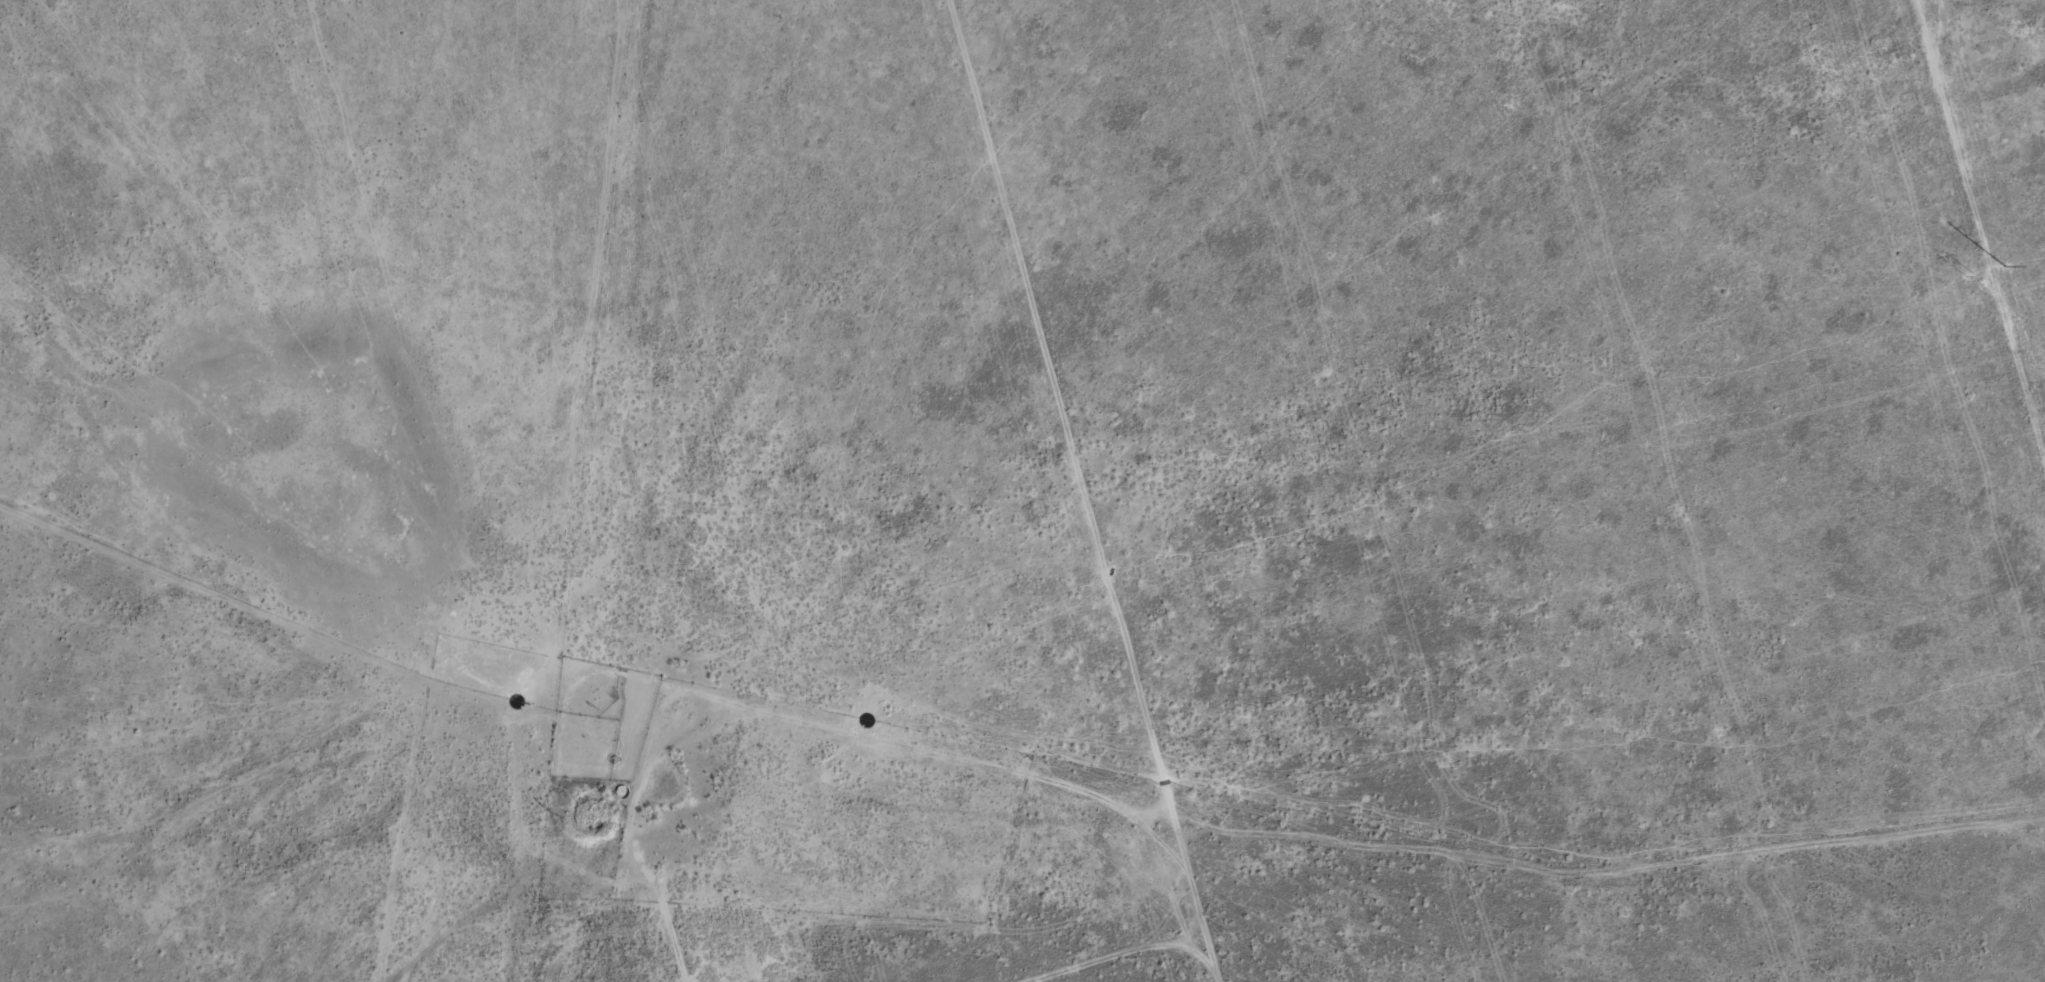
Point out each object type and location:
power tower: (2005, 266)
power tower: (1966, 277)

